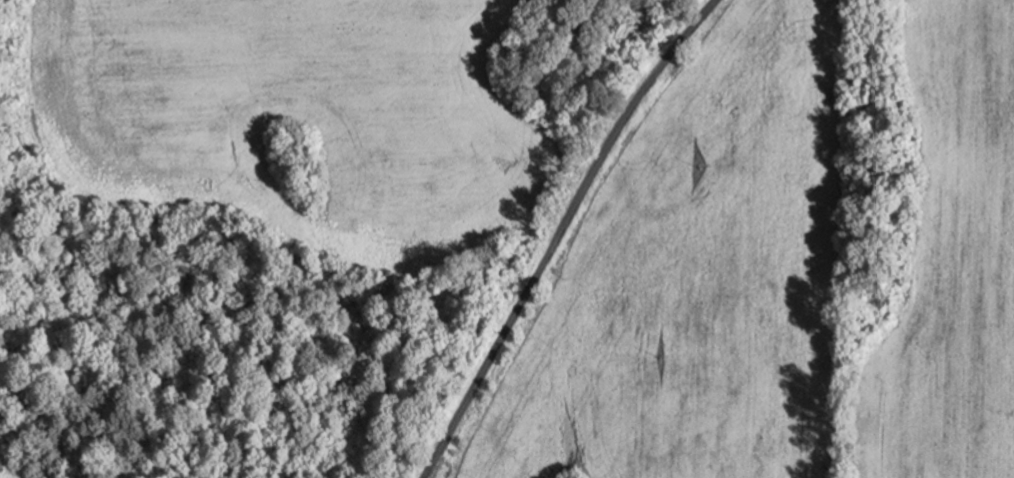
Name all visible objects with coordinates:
road: (564, 233)

